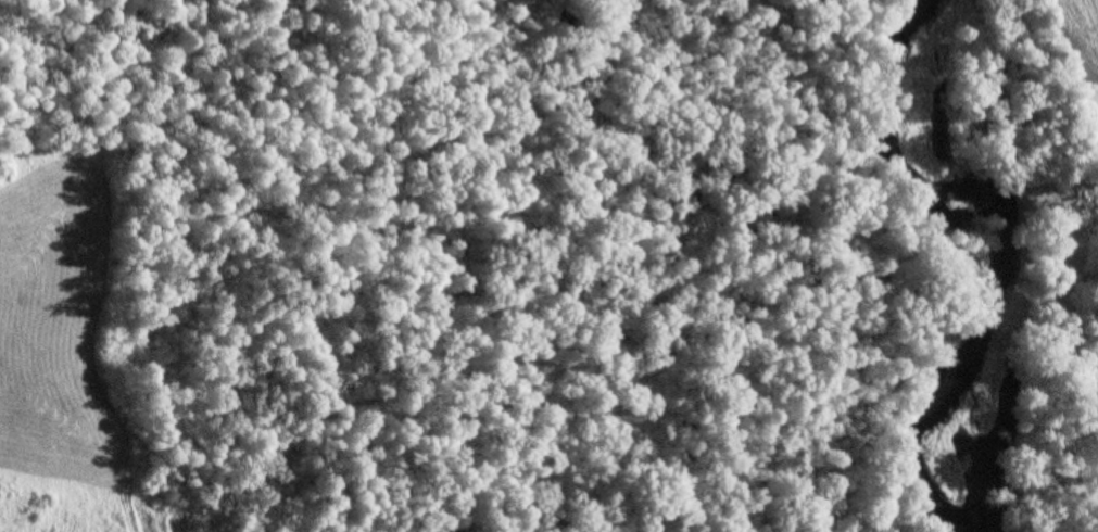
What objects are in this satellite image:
river: (938, 11)
river: (970, 264)
river: (981, 504)

